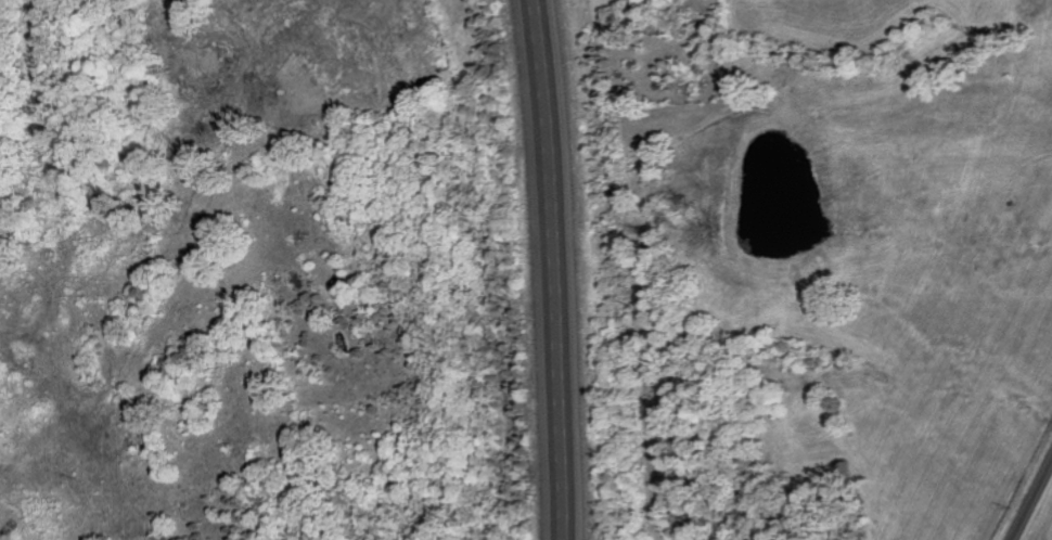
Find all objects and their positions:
building: (641, 3)
road: (564, 269)
road: (1031, 501)

